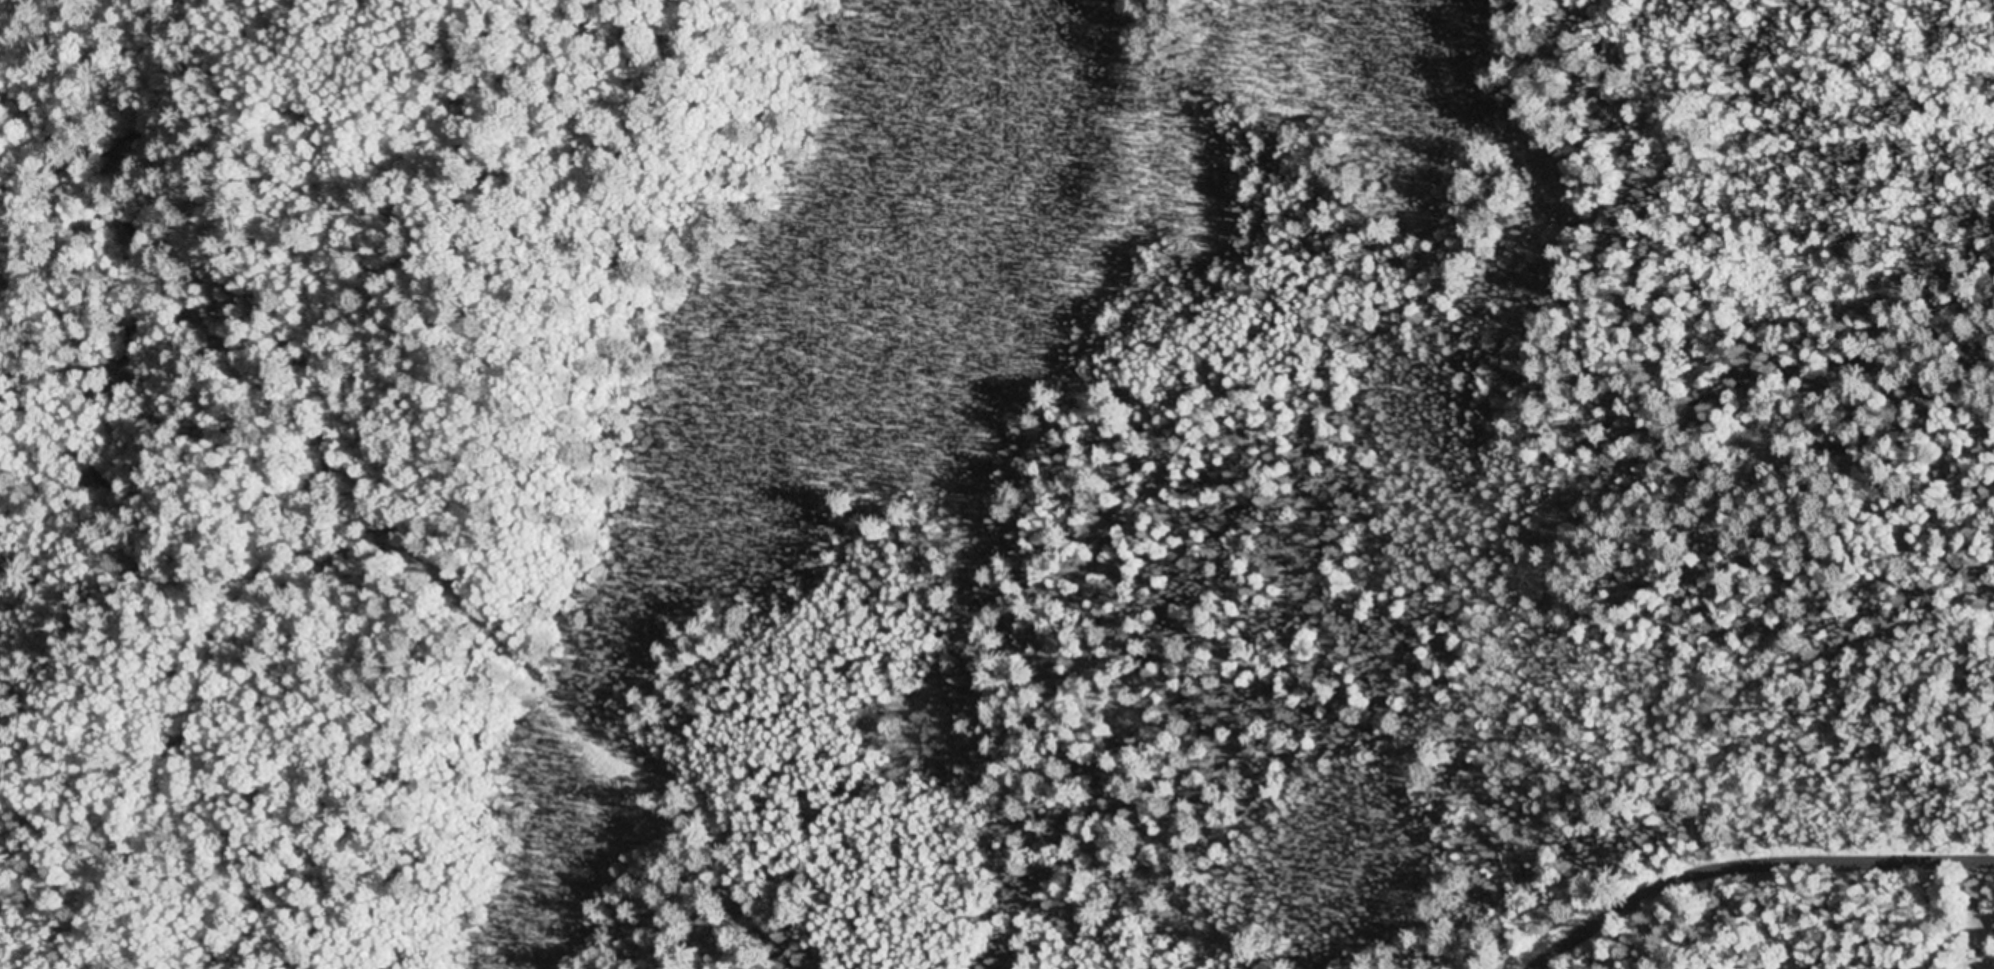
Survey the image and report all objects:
road: (1750, 865)
building: (1958, 937)
building: (1812, 963)
building: (1960, 963)

